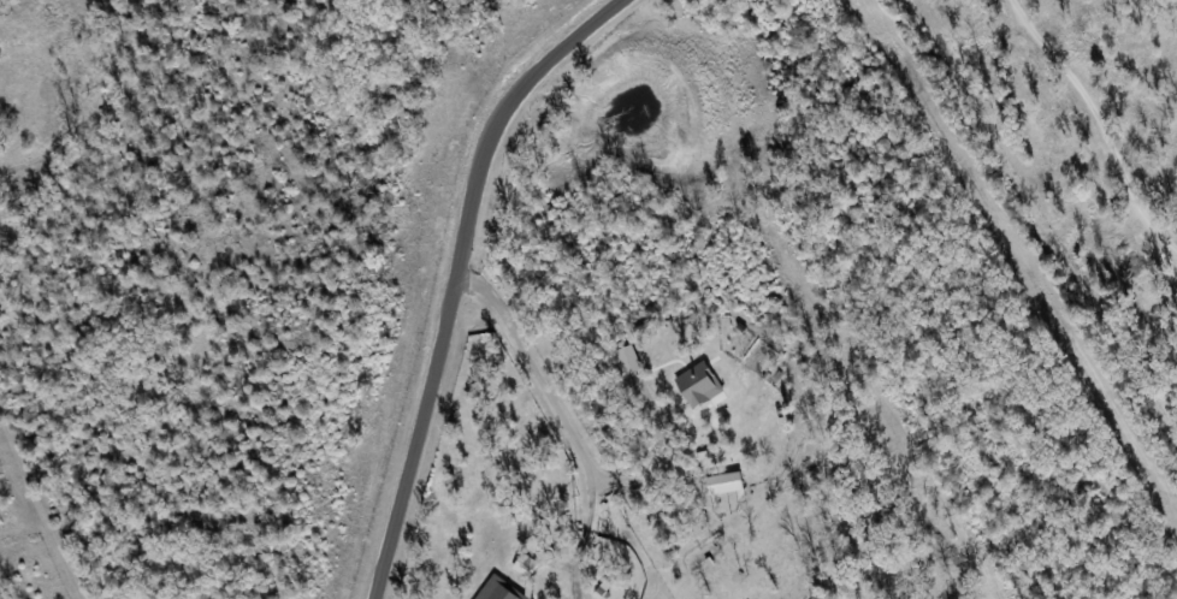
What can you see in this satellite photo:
road: (1101, 120)
road: (459, 273)
road: (60, 472)
building: (728, 484)

